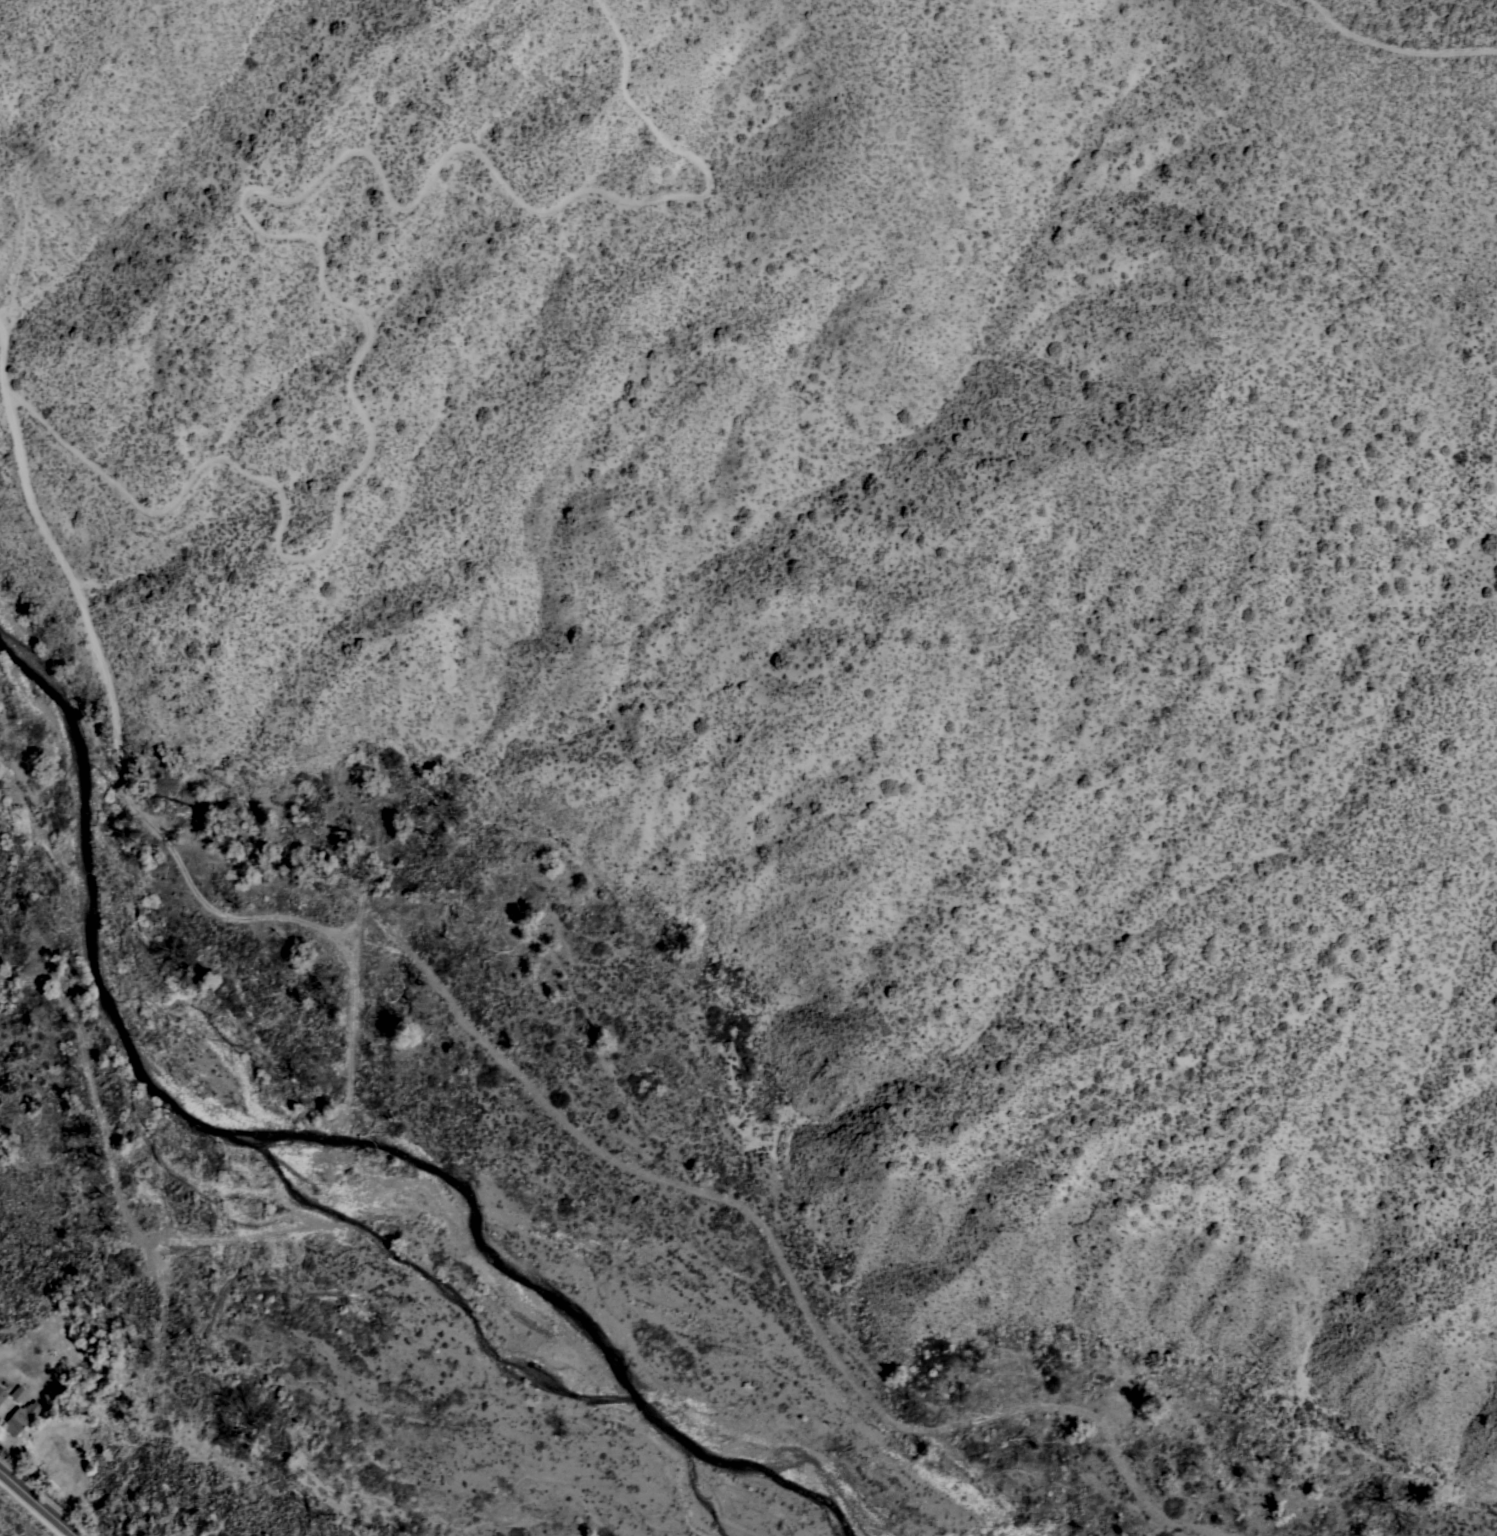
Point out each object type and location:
road: (1398, 50)
road: (270, 237)
road: (51, 536)
building: (17, 1393)
building: (2, 1394)
building: (19, 1417)
road: (37, 1503)

